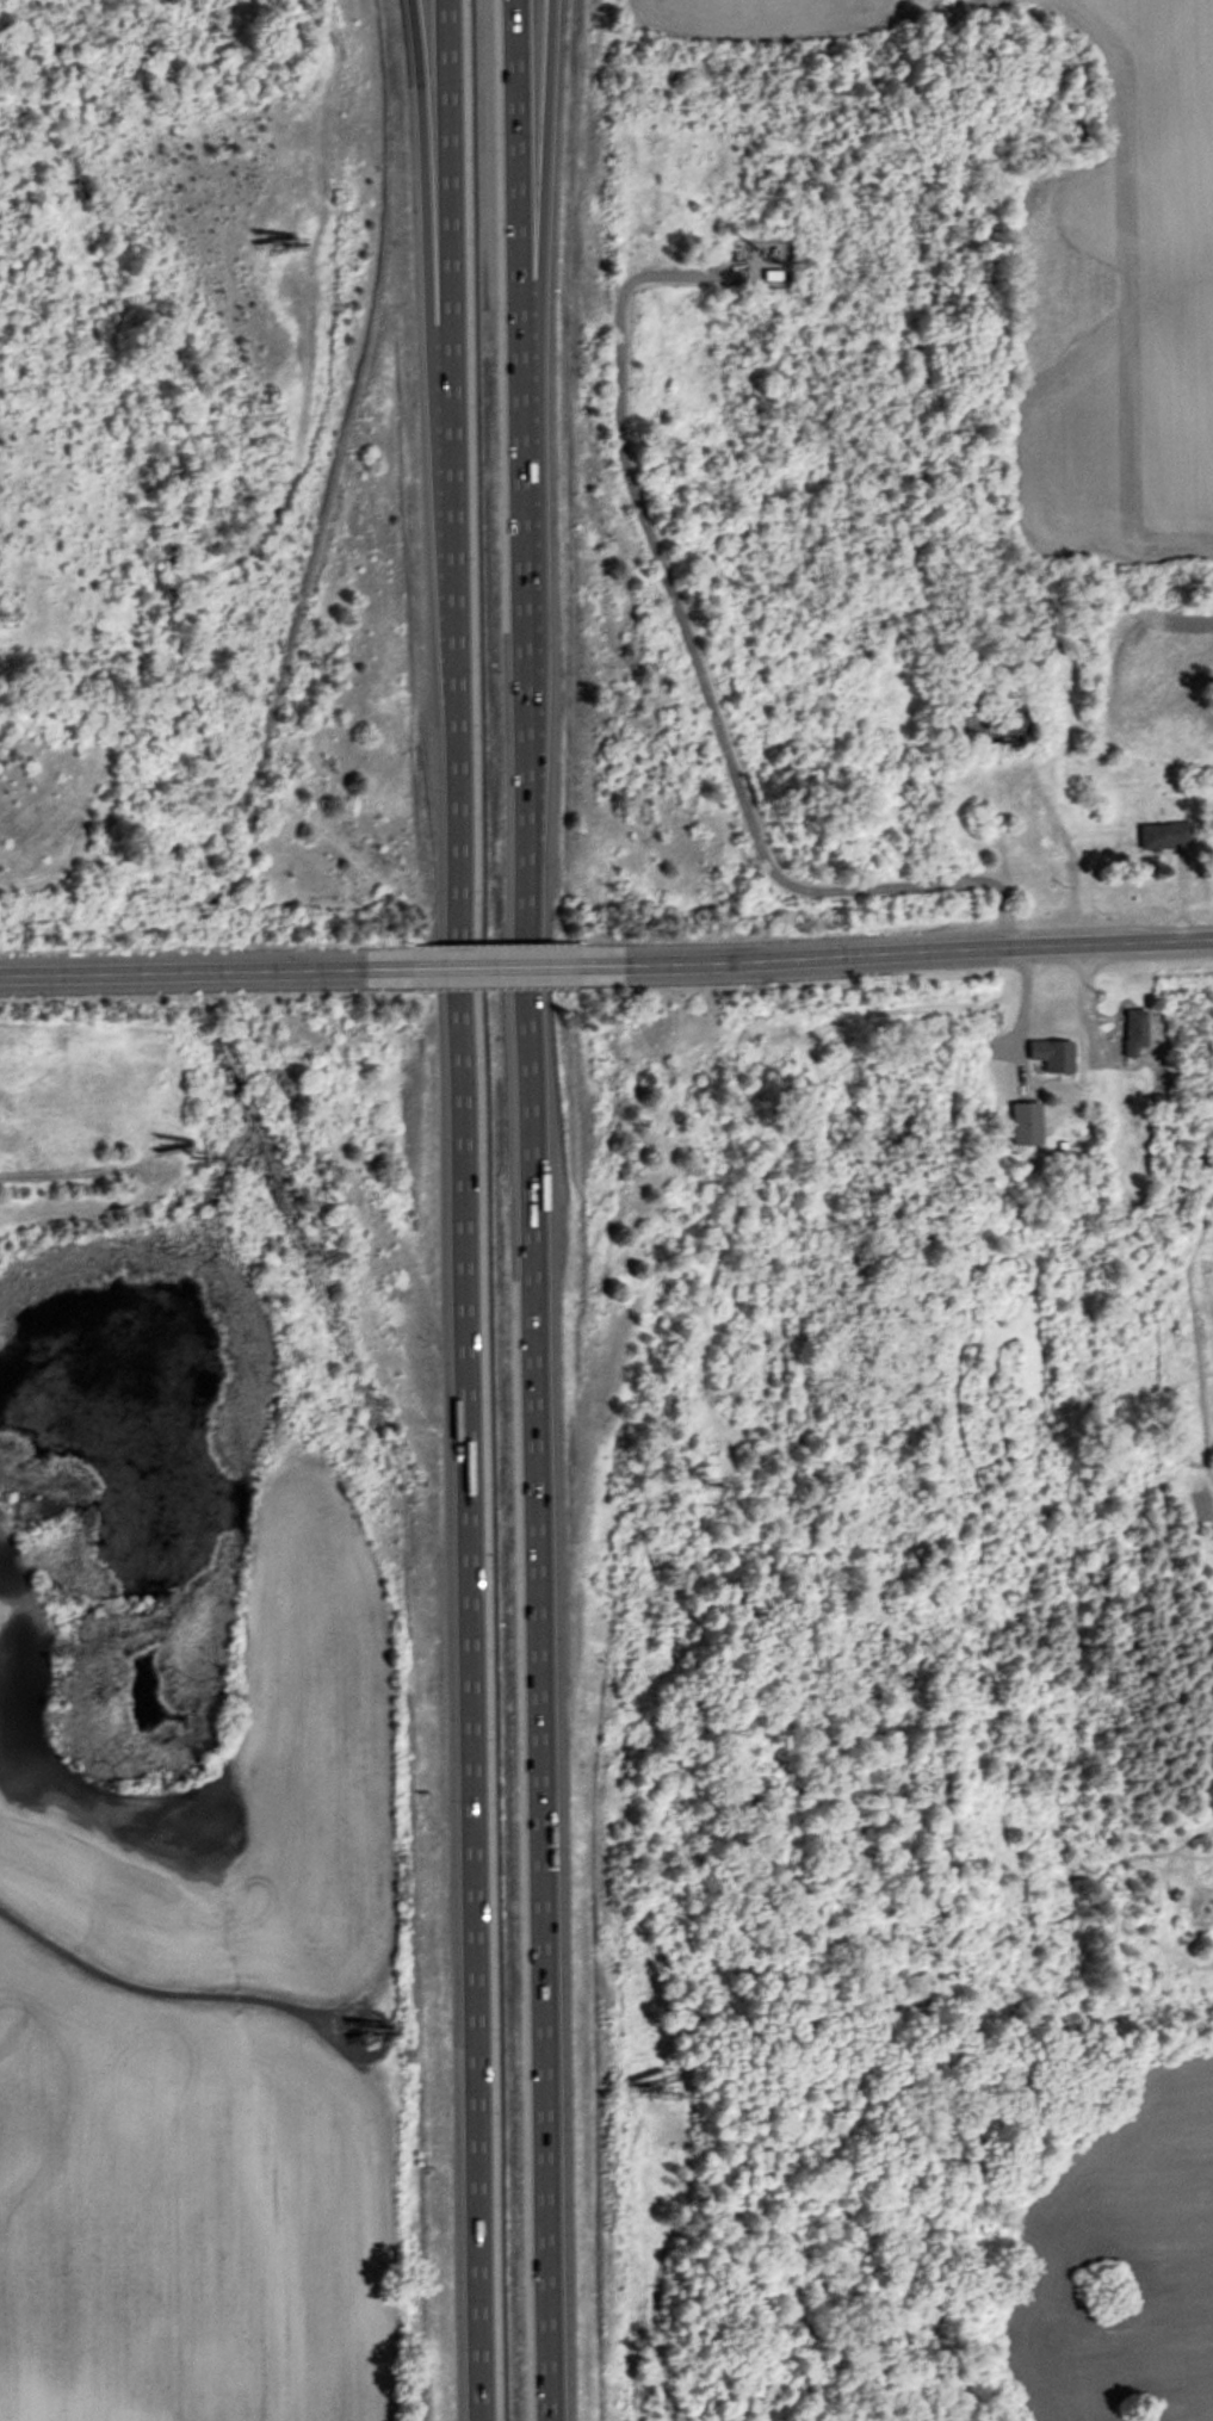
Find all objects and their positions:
building: (773, 275)
road: (538, 330)
road: (432, 379)
road: (695, 664)
building: (992, 732)
building: (1165, 837)
road: (896, 951)
road: (495, 966)
road: (205, 970)
building: (1135, 1033)
building: (1027, 1123)
road: (463, 1210)
road: (531, 1210)

